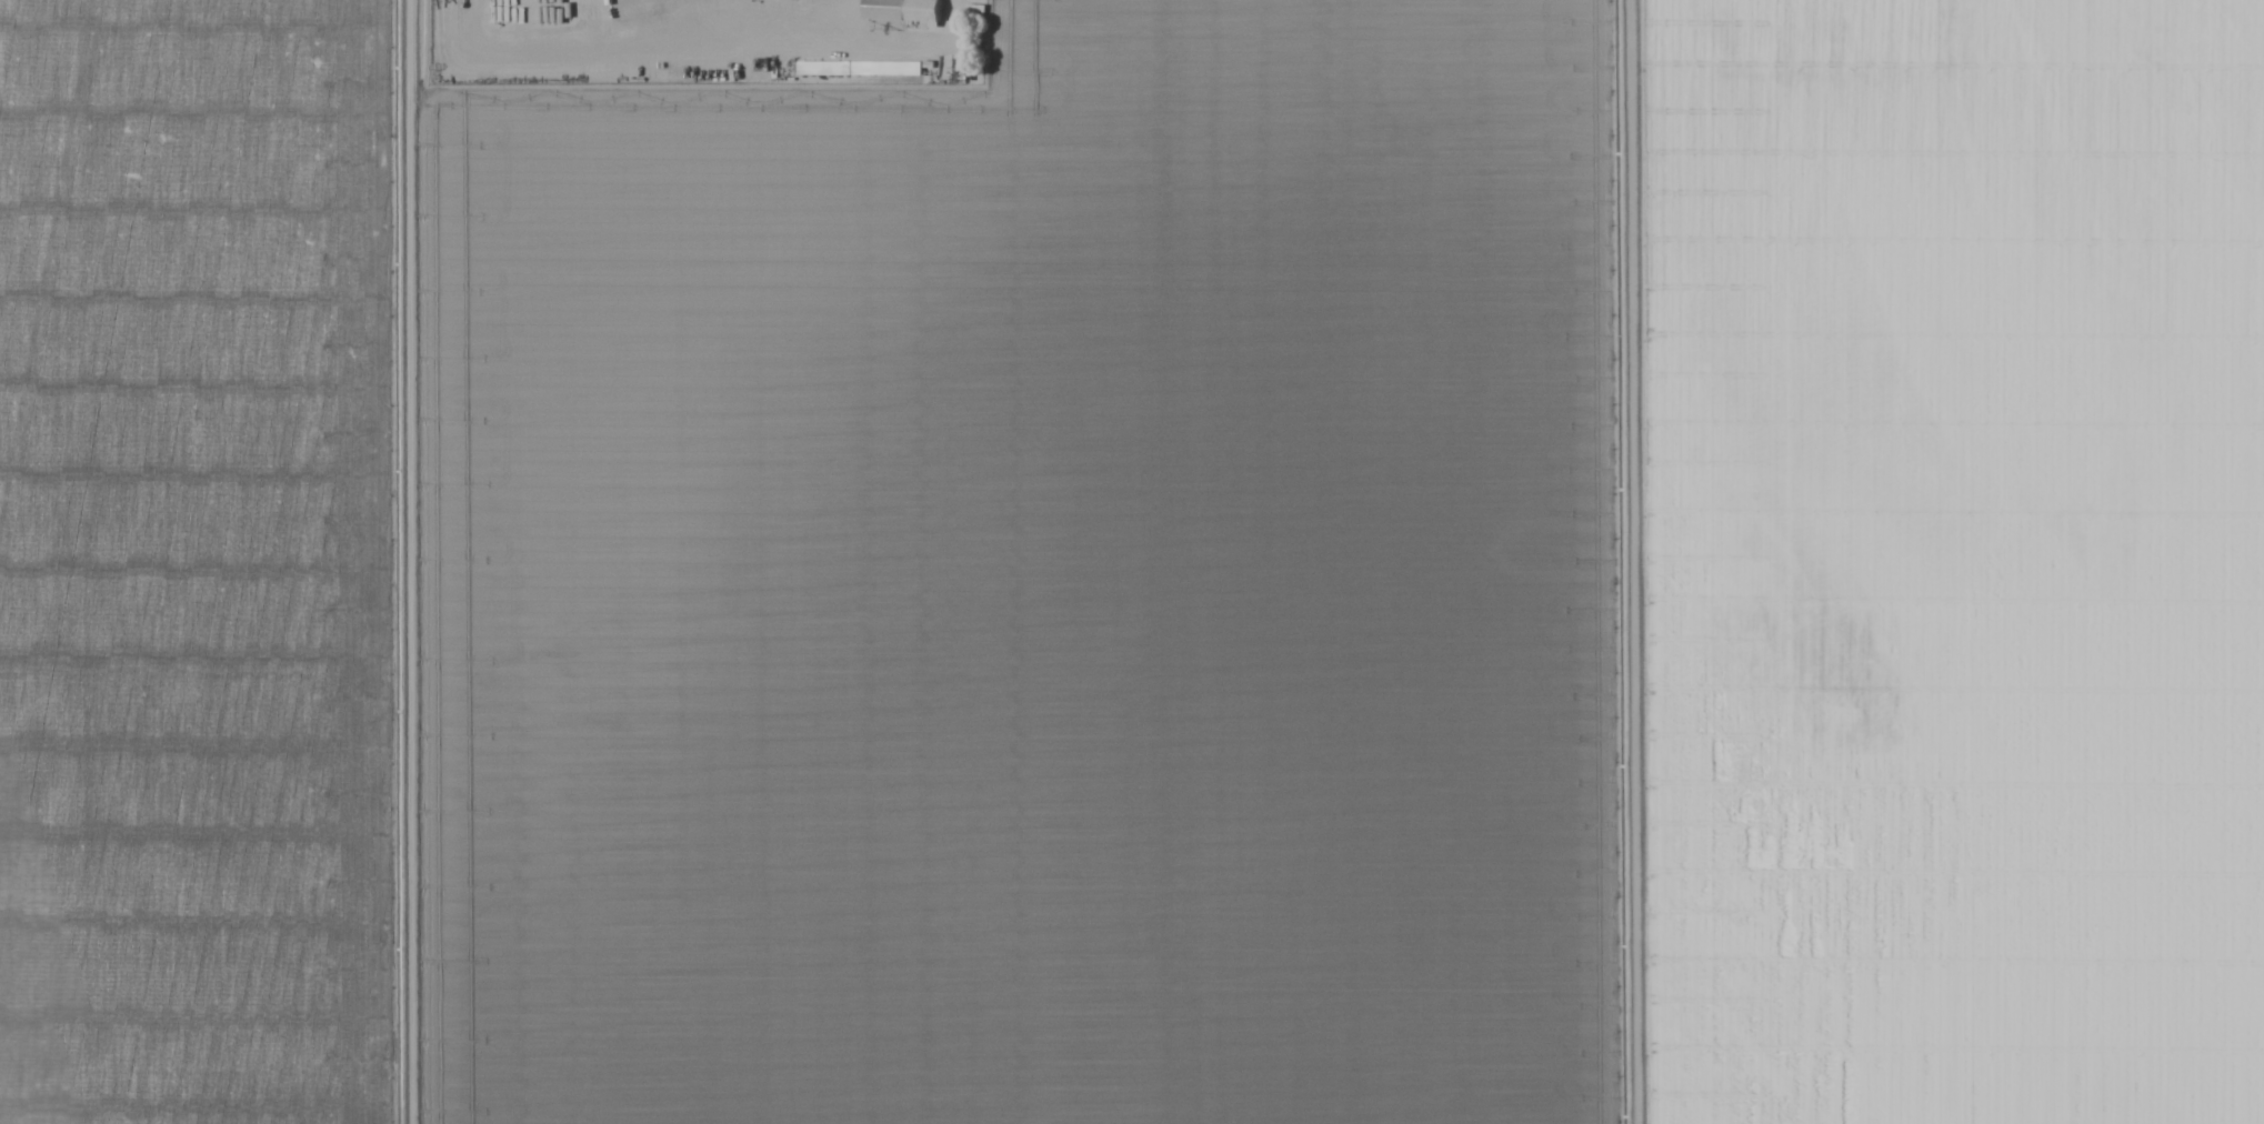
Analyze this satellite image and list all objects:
building: (902, 10)

